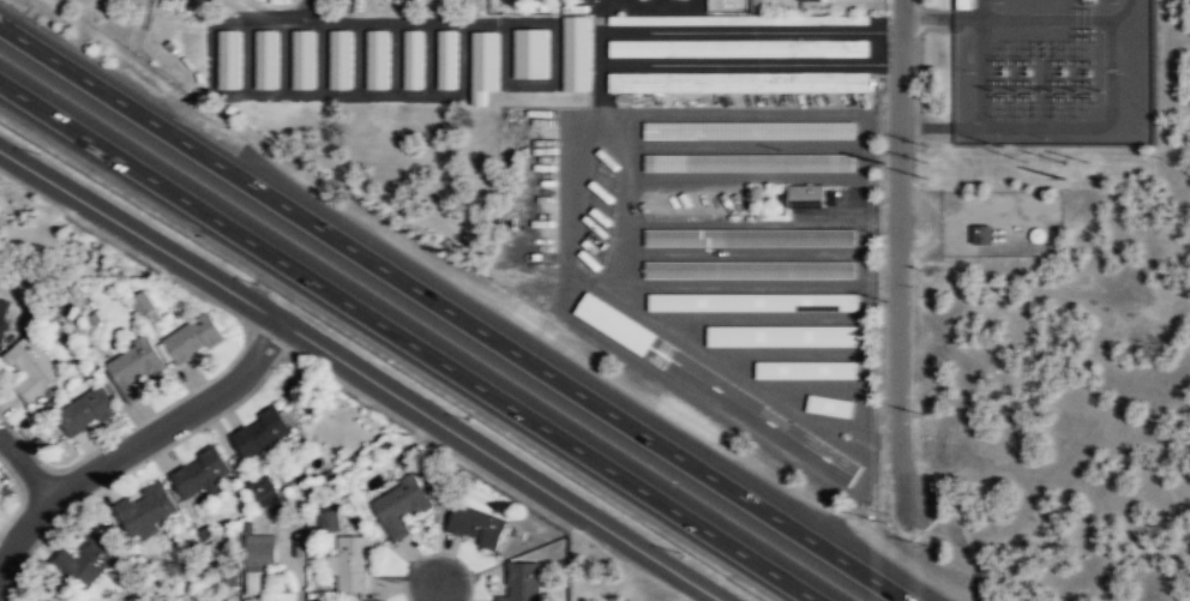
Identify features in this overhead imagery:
building: (815, 0)
building: (759, 5)
building: (839, 19)
building: (735, 48)
building: (529, 53)
building: (575, 53)
building: (228, 58)
building: (265, 59)
building: (302, 59)
building: (338, 59)
building: (375, 59)
building: (411, 59)
building: (446, 59)
building: (482, 65)
power substation: (1053, 70)
building: (735, 82)
building: (803, 196)
building: (980, 234)
building: (747, 236)
road: (898, 253)
building: (747, 269)
building: (142, 302)
road: (452, 313)
building: (4, 314)
building: (780, 336)
building: (193, 338)
road: (409, 341)
building: (32, 367)
building: (136, 368)
building: (804, 369)
road: (362, 372)
building: (86, 411)
road: (176, 419)
building: (260, 432)
road: (26, 464)
building: (200, 473)
building: (260, 488)
building: (0, 497)
building: (146, 509)
building: (398, 509)
building: (327, 517)
building: (475, 525)
road: (22, 530)
building: (259, 552)
building: (85, 561)
building: (350, 563)
building: (522, 581)
road: (435, 594)
building: (287, 596)
building: (251, 599)

